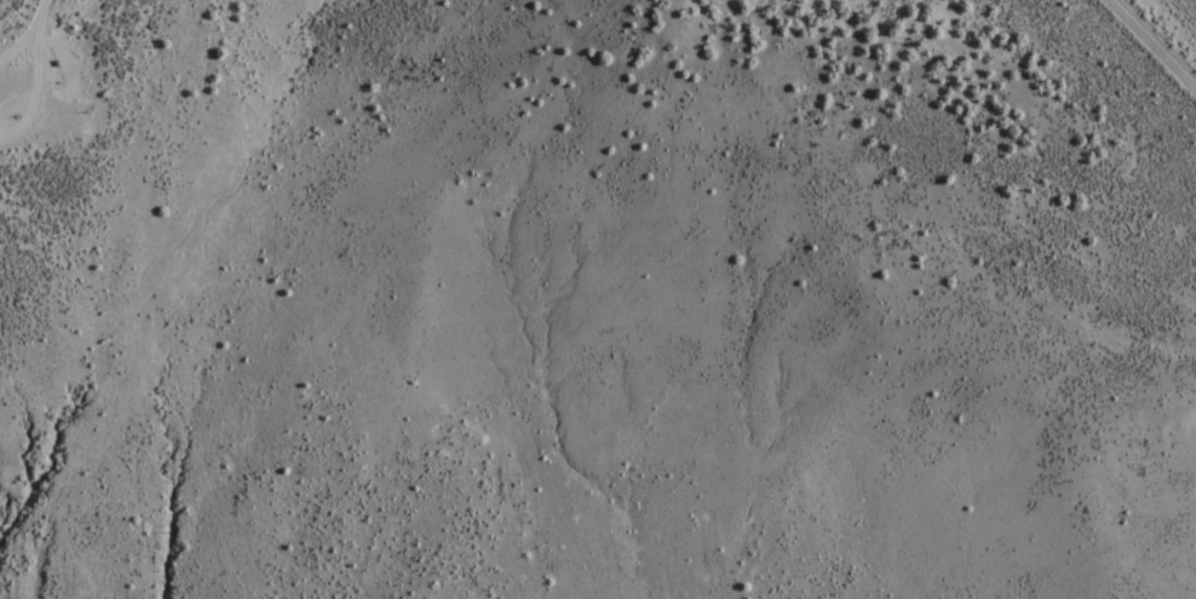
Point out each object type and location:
road: (1135, 57)

